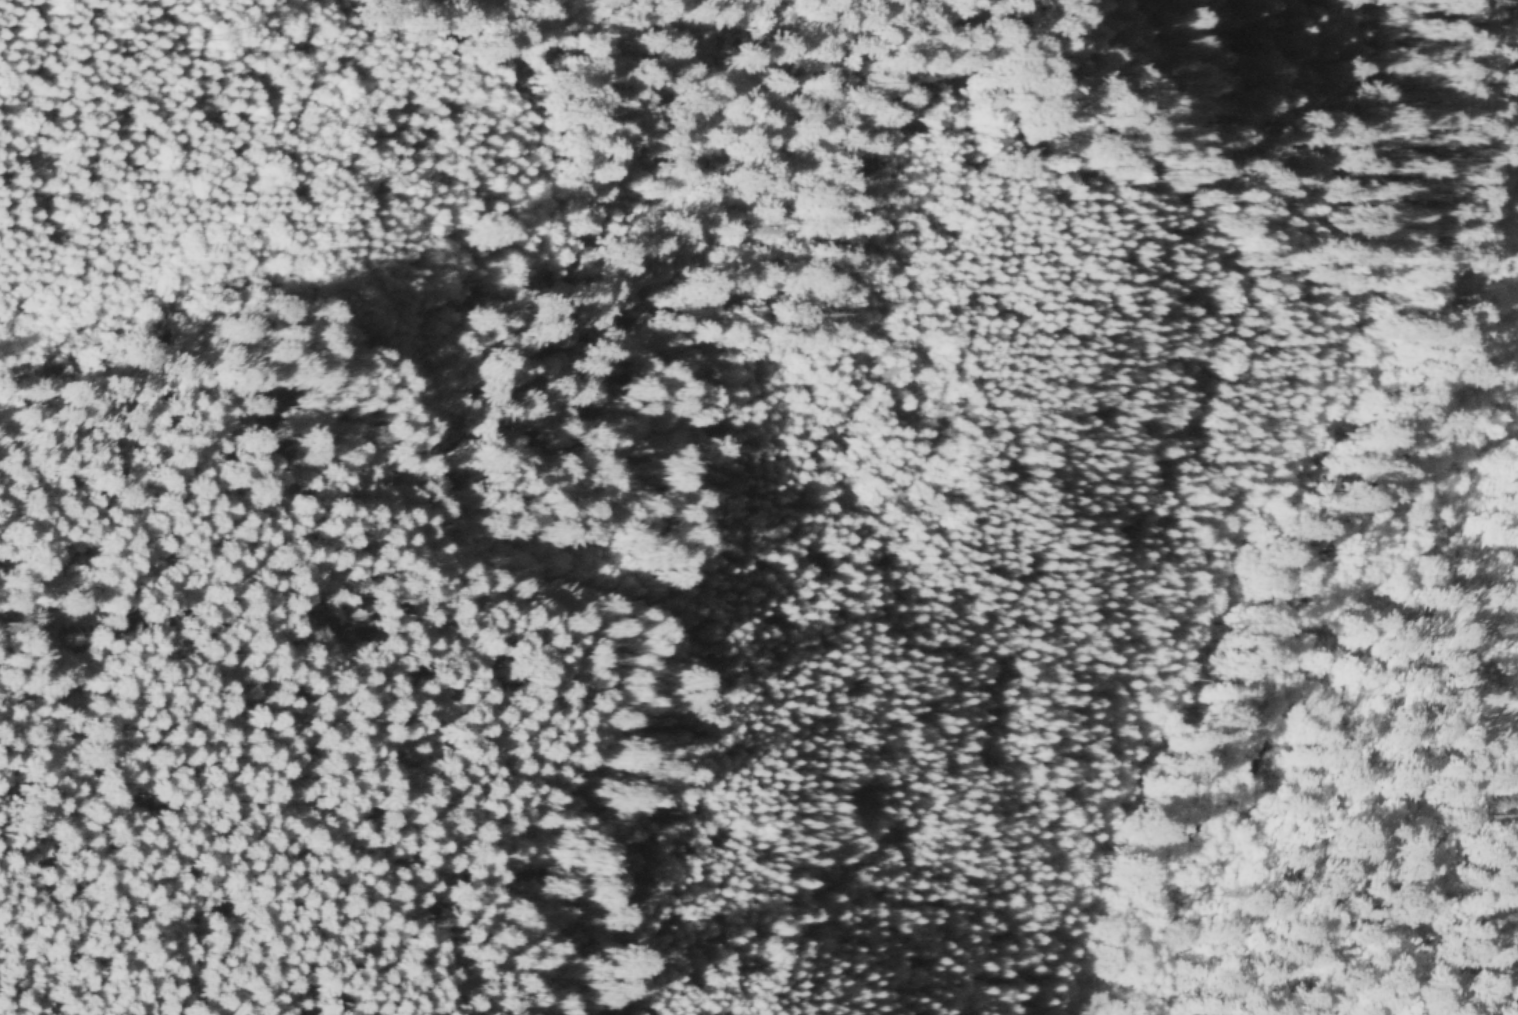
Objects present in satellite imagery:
road: (1454, 166)
road: (1490, 938)

